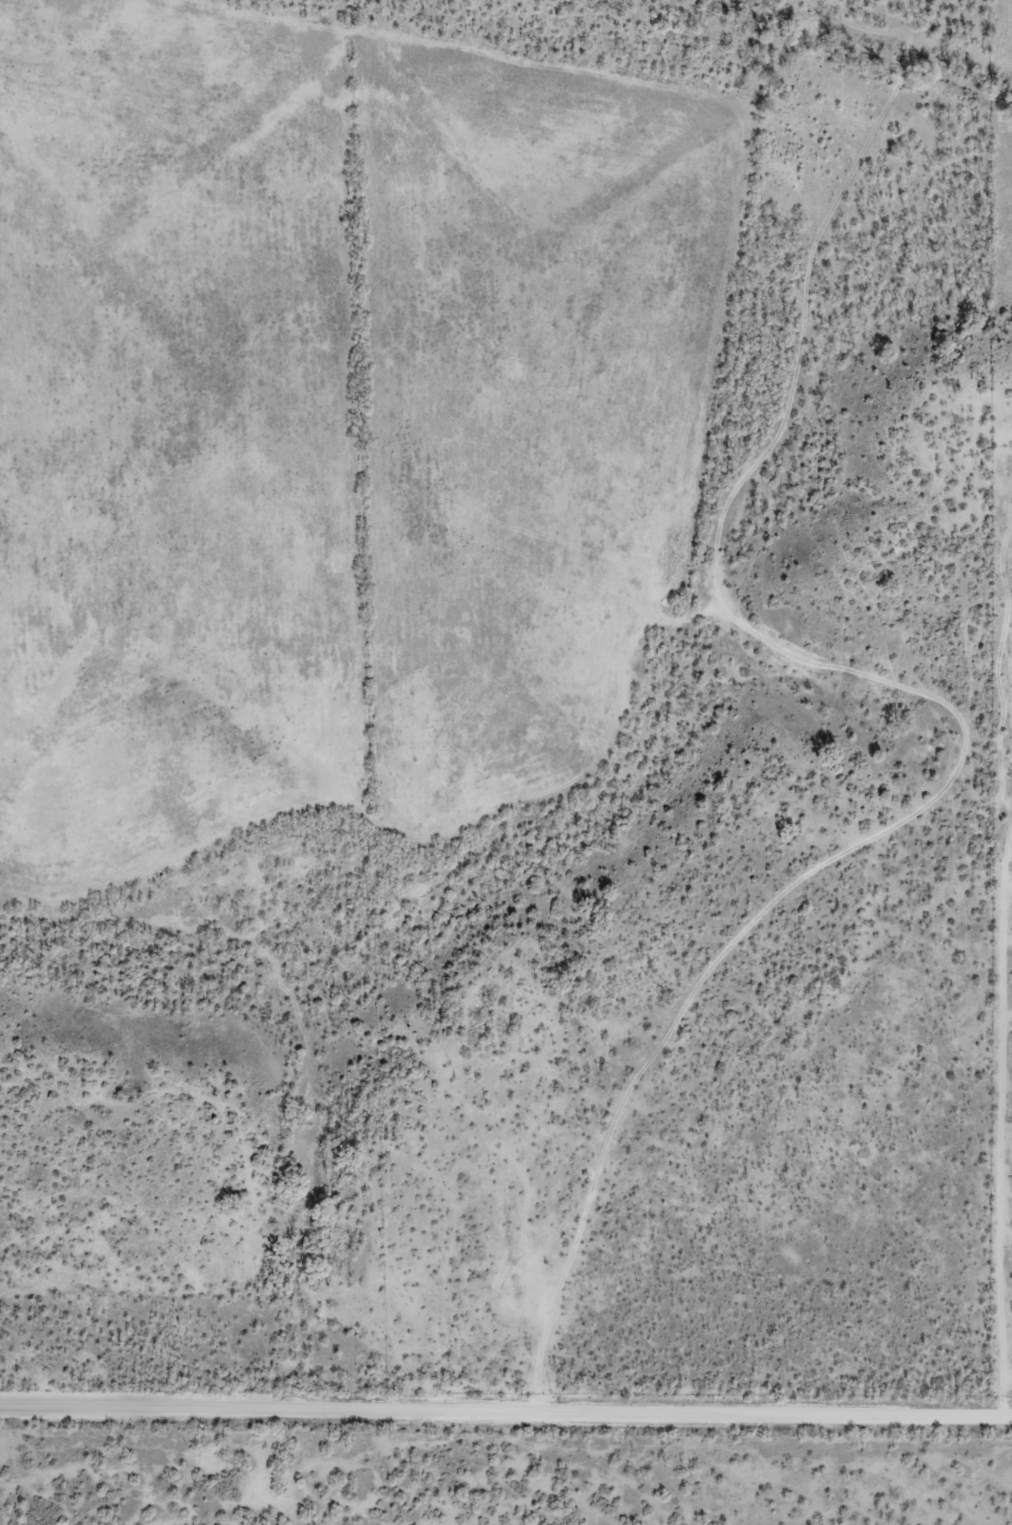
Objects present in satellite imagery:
road: (949, 709)
road: (505, 1422)

